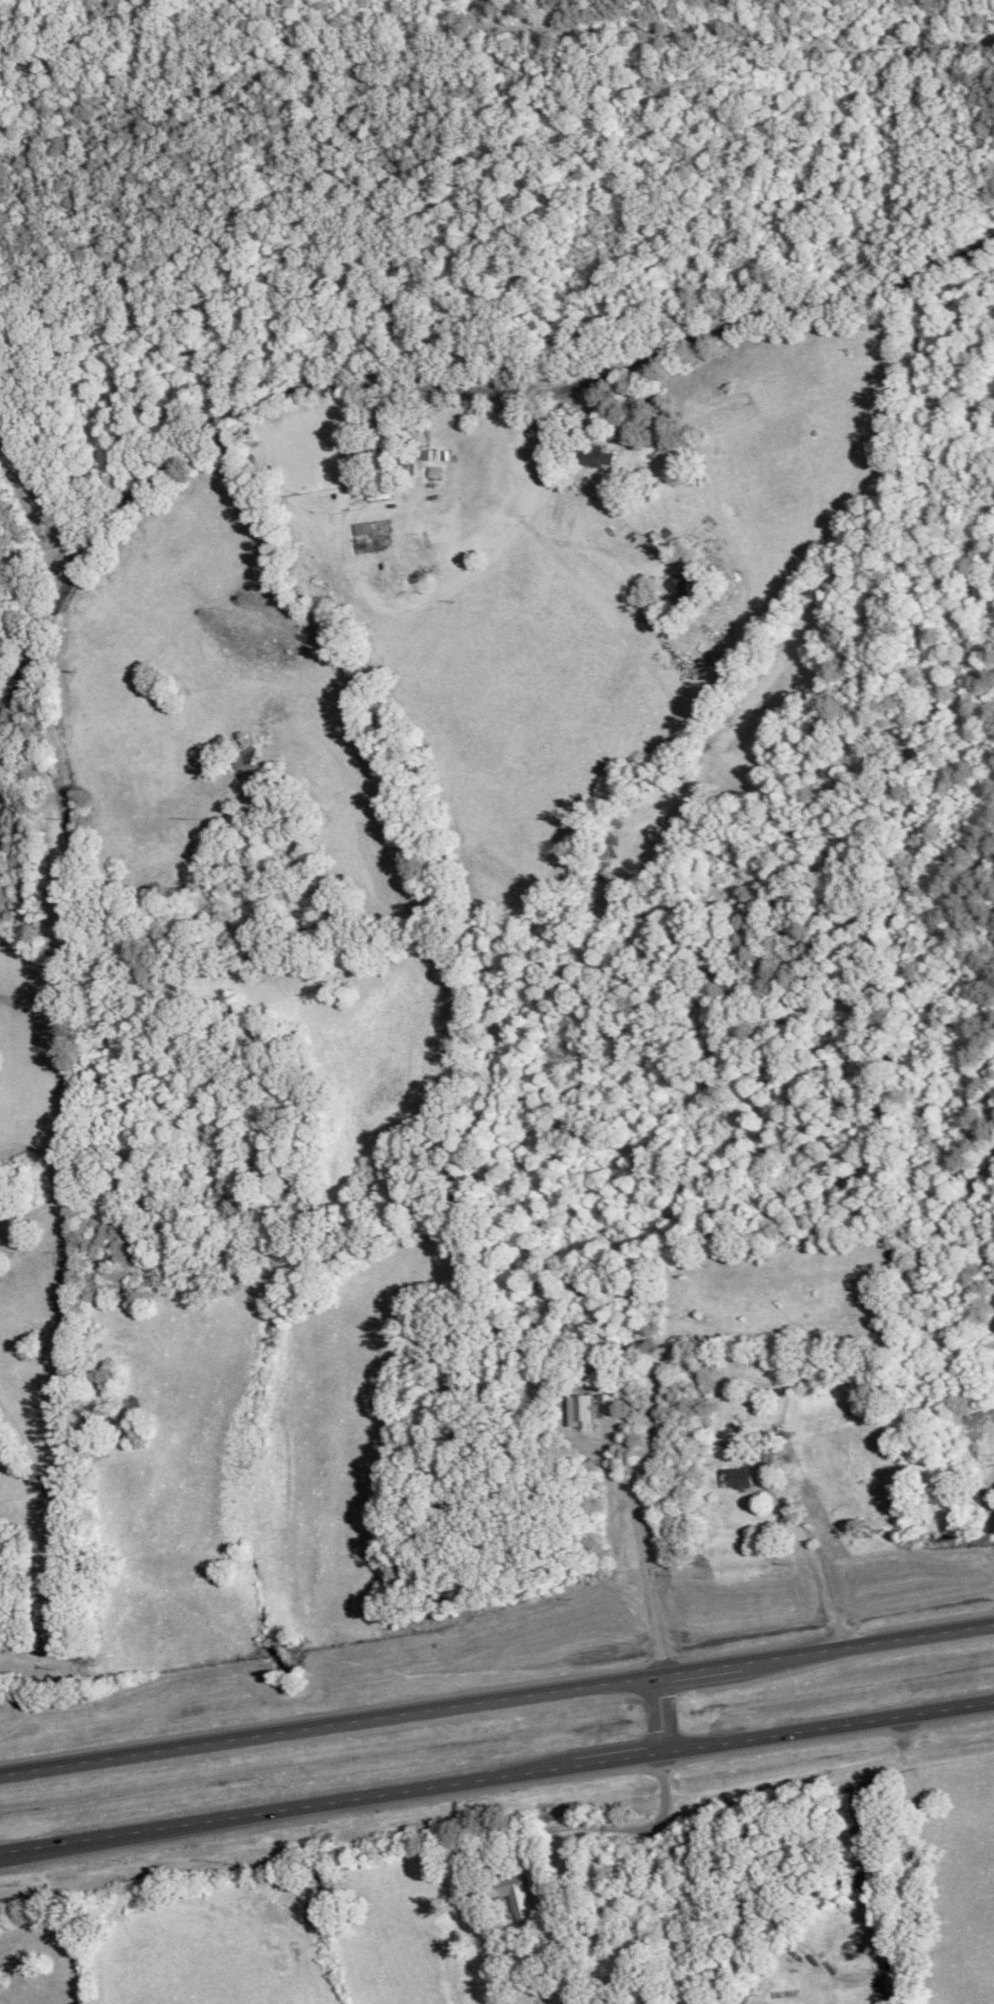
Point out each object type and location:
road: (437, 387)
building: (599, 456)
building: (680, 585)
building: (742, 1477)
road: (812, 1557)
road: (645, 1583)
road: (626, 1680)
road: (661, 1712)
road: (830, 1723)
road: (129, 1753)
road: (333, 1801)
road: (917, 1850)
building: (508, 1884)

